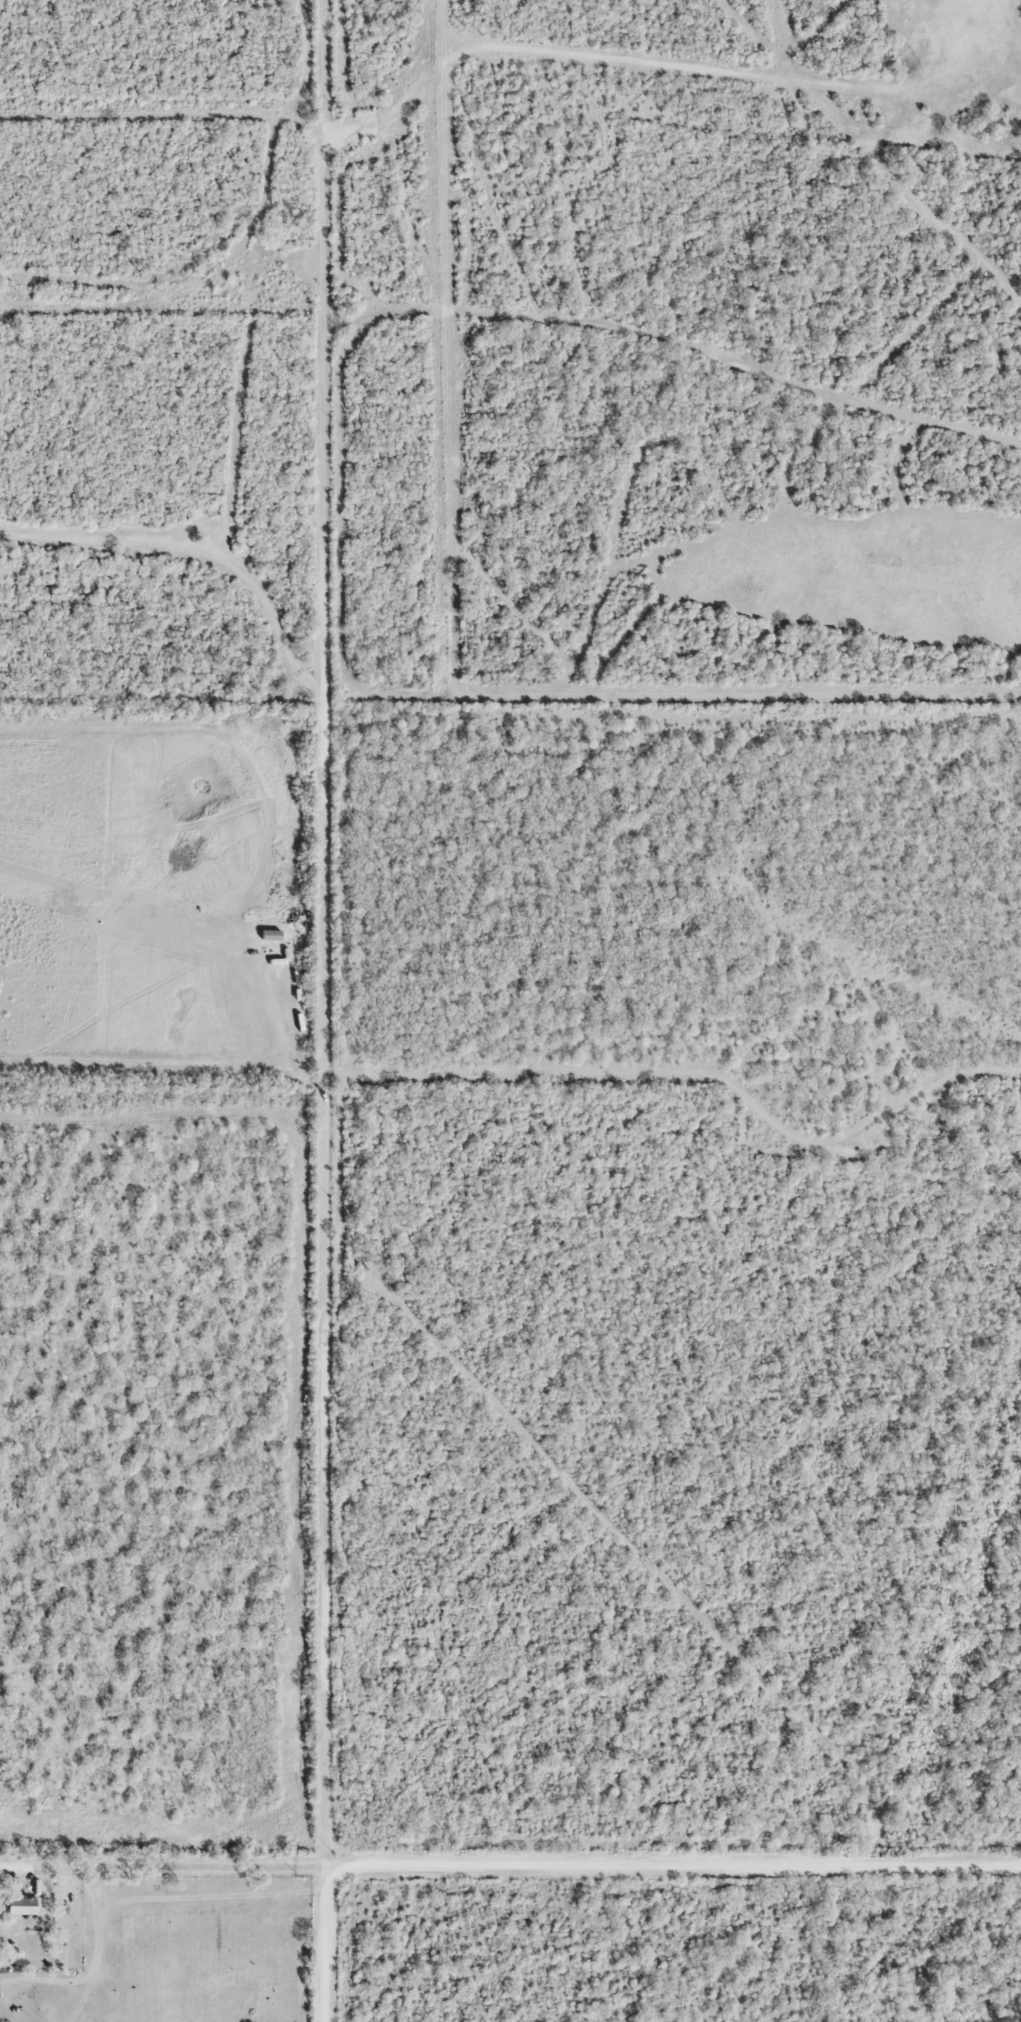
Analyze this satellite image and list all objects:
road: (322, 68)
building: (295, 917)
road: (320, 1079)
road: (670, 1866)
road: (187, 1868)
building: (21, 1904)

